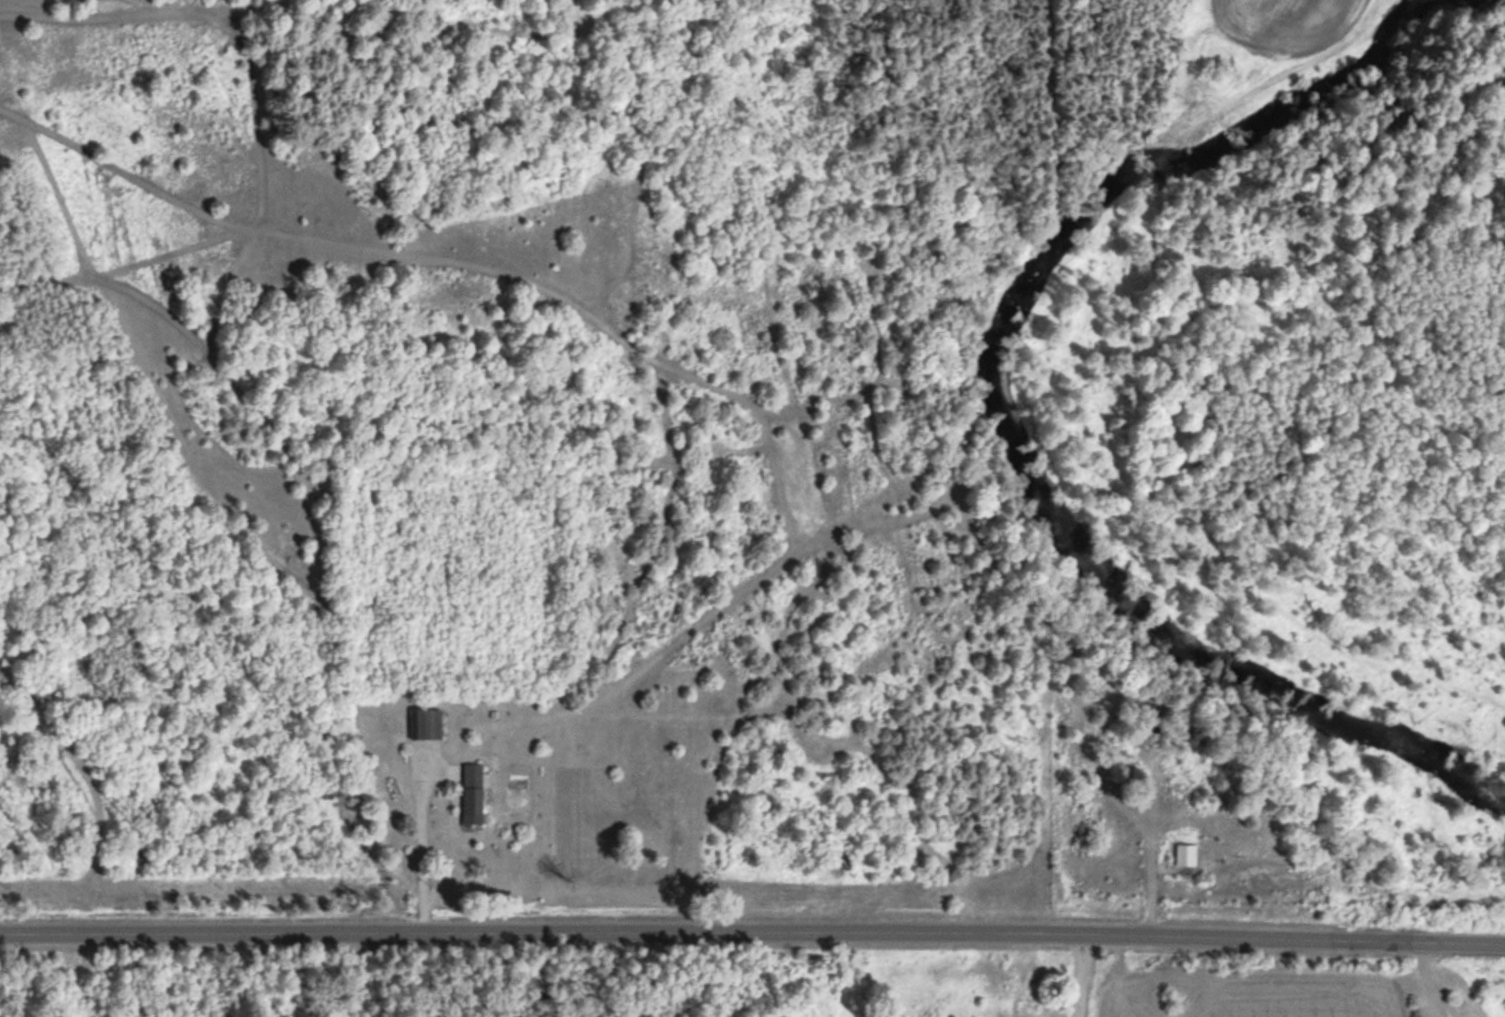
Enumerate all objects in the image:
river: (1037, 396)
building: (421, 721)
building: (466, 785)
building: (1181, 852)
road: (752, 932)

